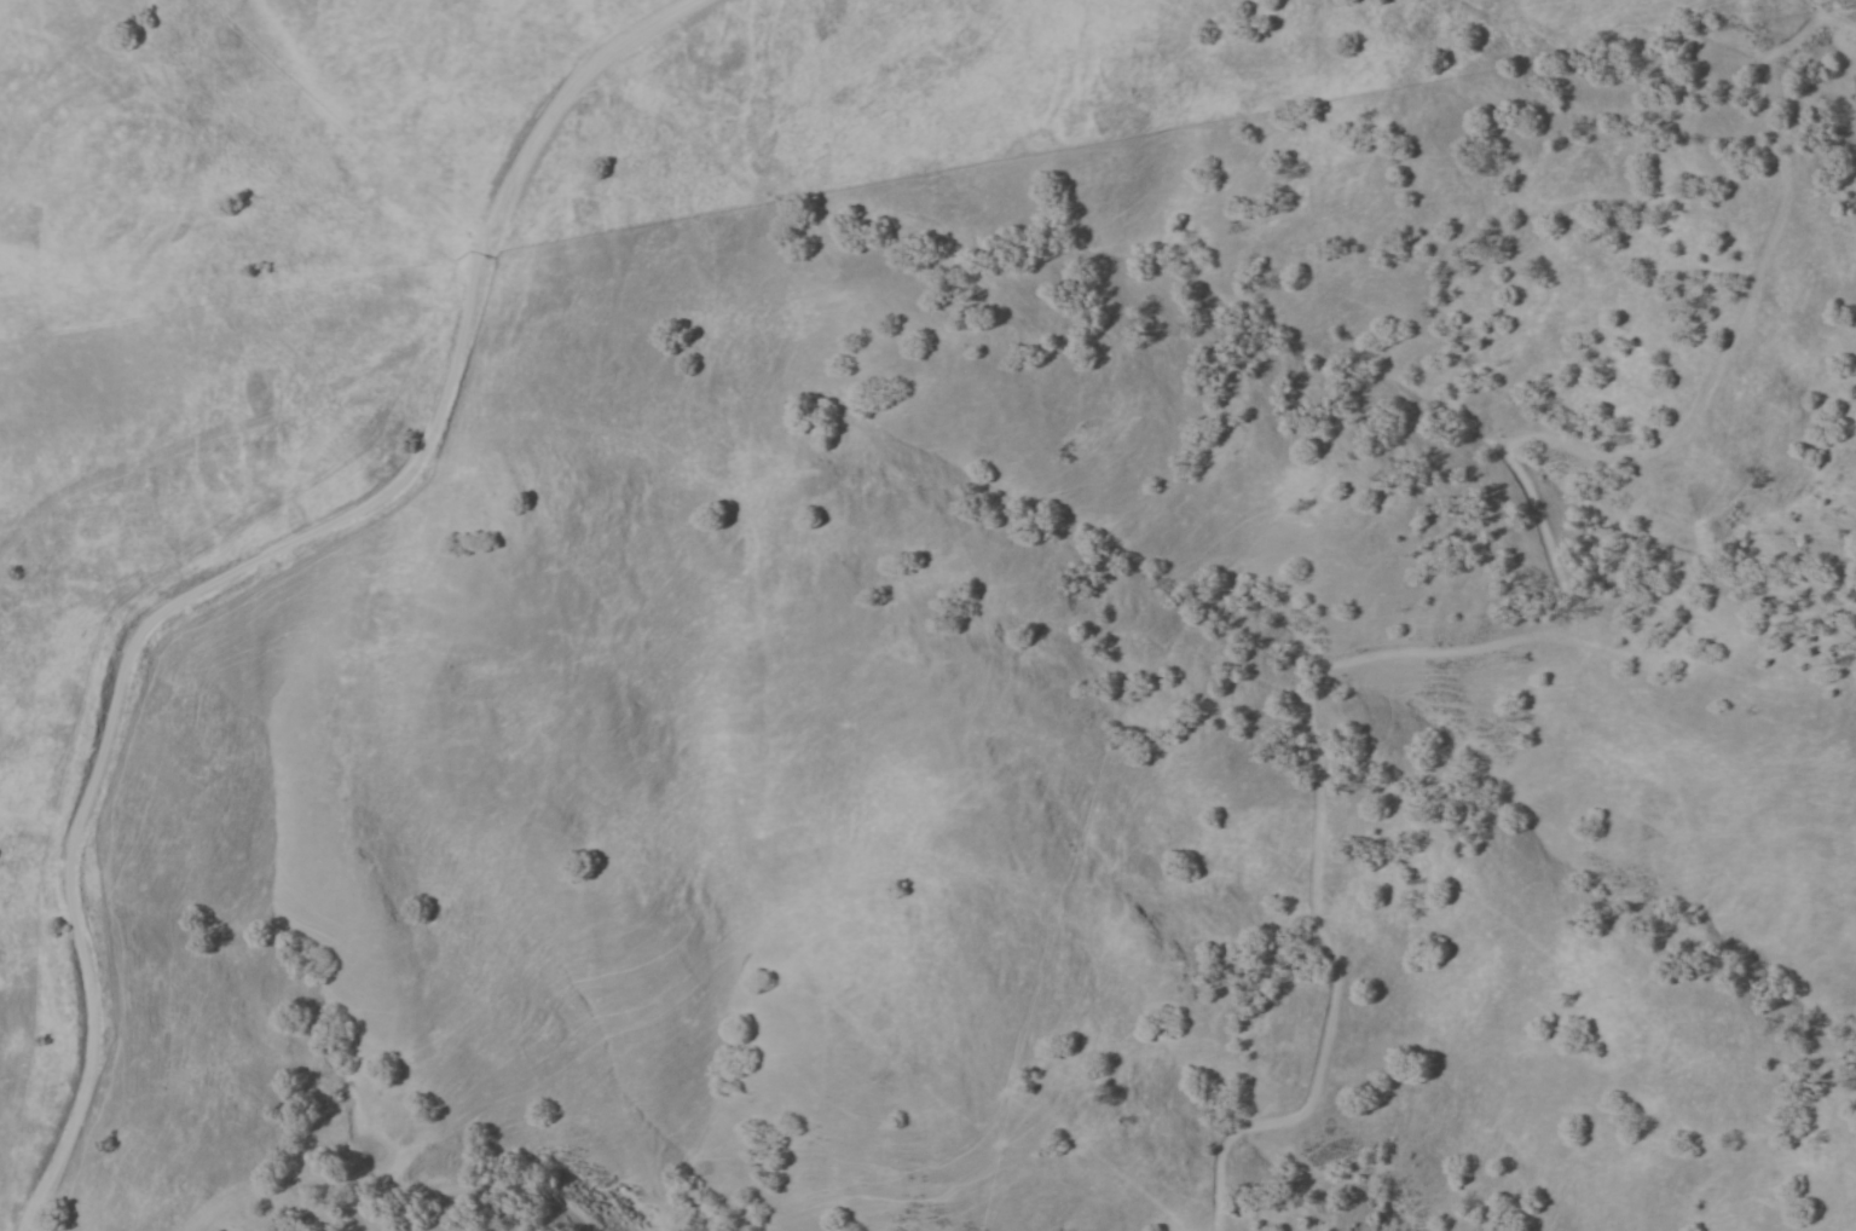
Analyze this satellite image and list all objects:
road: (250, 561)

